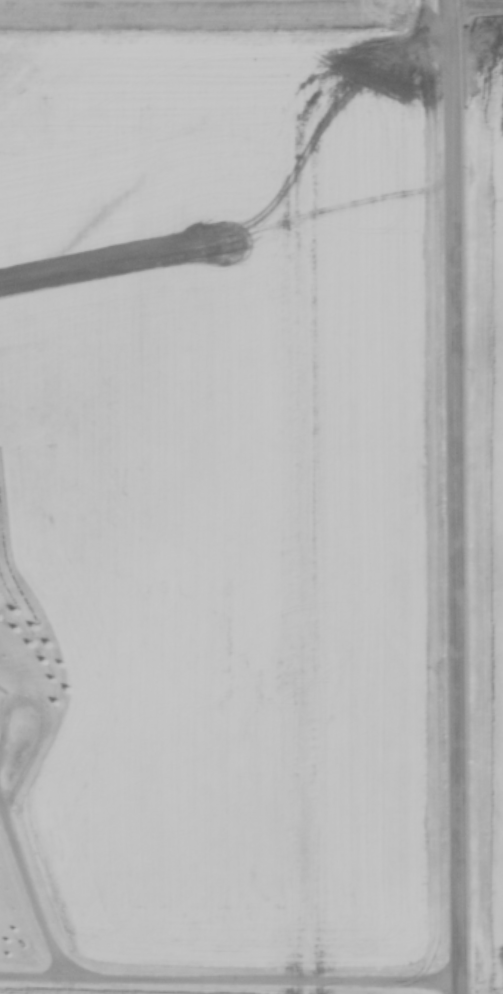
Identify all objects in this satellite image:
road: (457, 9)
road: (458, 9)
road: (462, 506)

